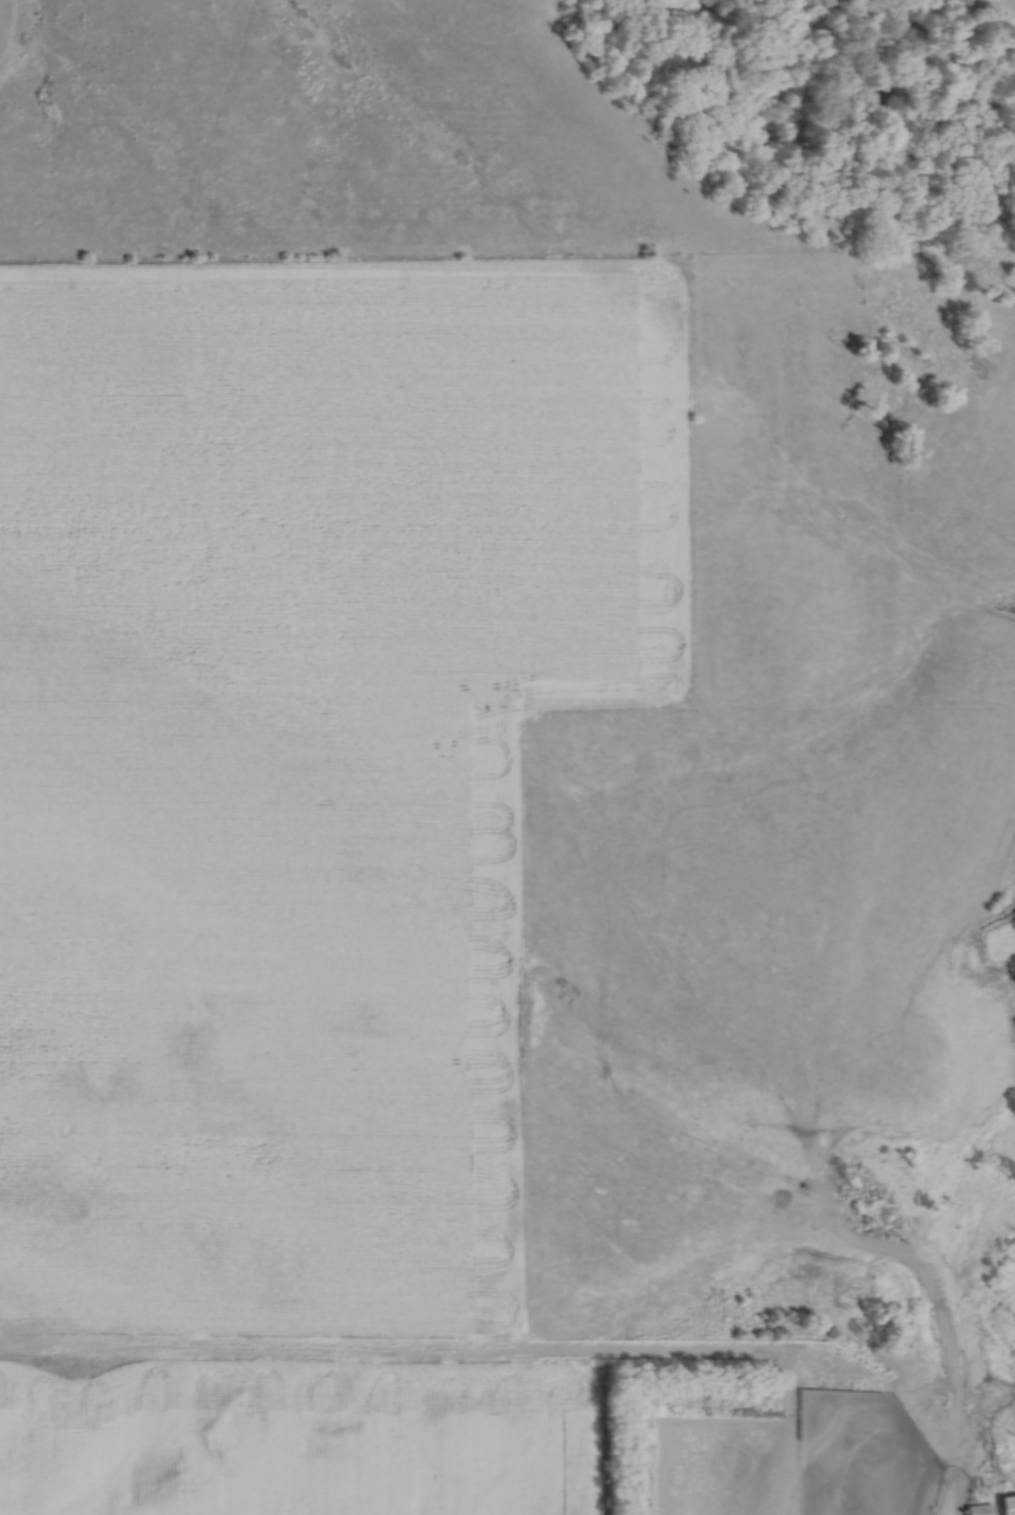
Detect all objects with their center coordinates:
building: (684, 1208)
building: (1006, 1504)
building: (977, 1509)

